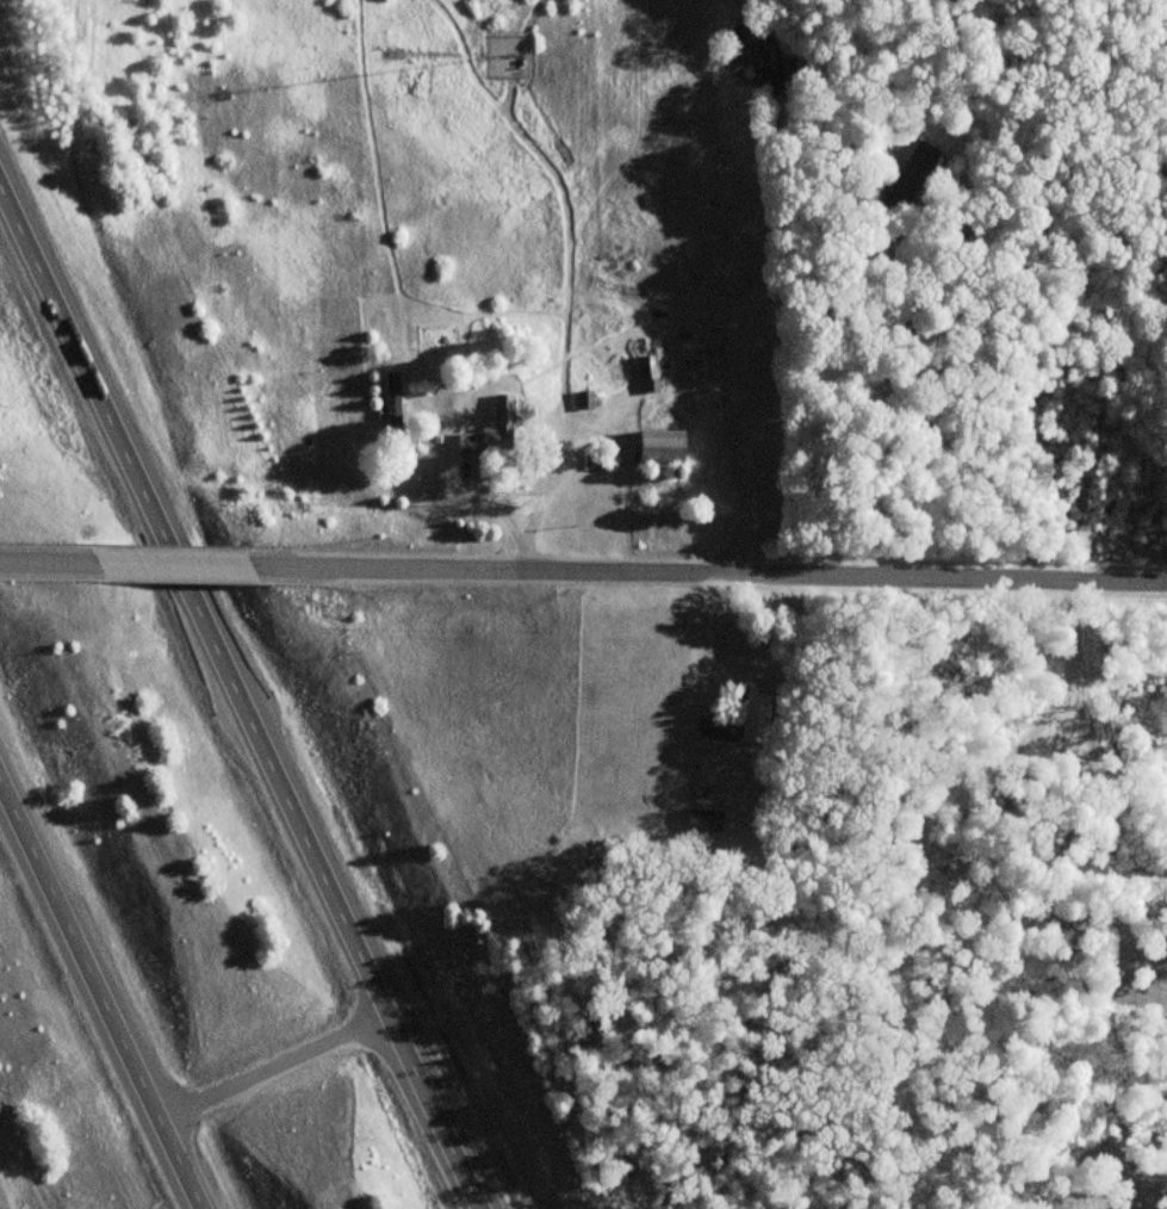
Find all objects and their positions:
building: (913, 174)
building: (646, 374)
building: (390, 404)
building: (499, 413)
building: (656, 447)
road: (50, 559)
road: (166, 562)
road: (699, 570)
road: (247, 681)
building: (739, 721)
building: (702, 819)
road: (103, 991)
road: (283, 1065)

